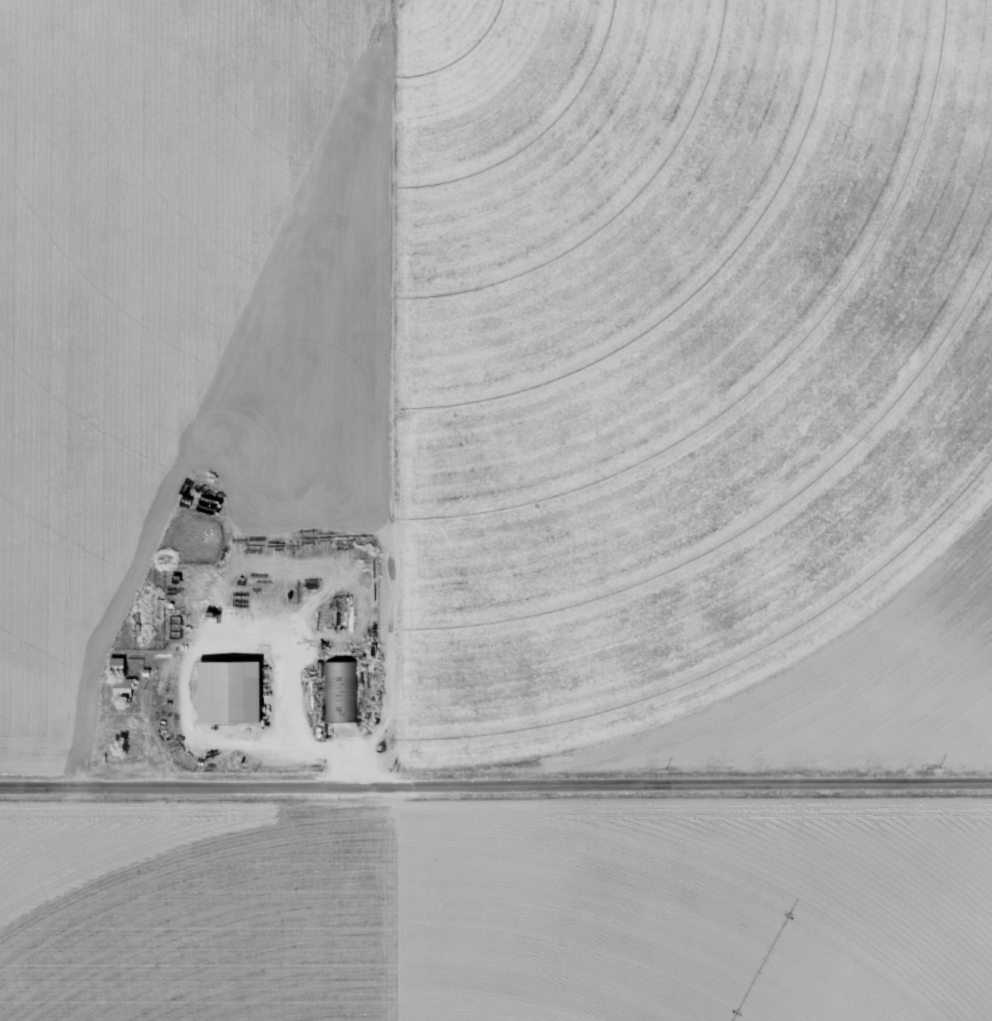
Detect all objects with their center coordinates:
building: (231, 693)
road: (496, 786)

